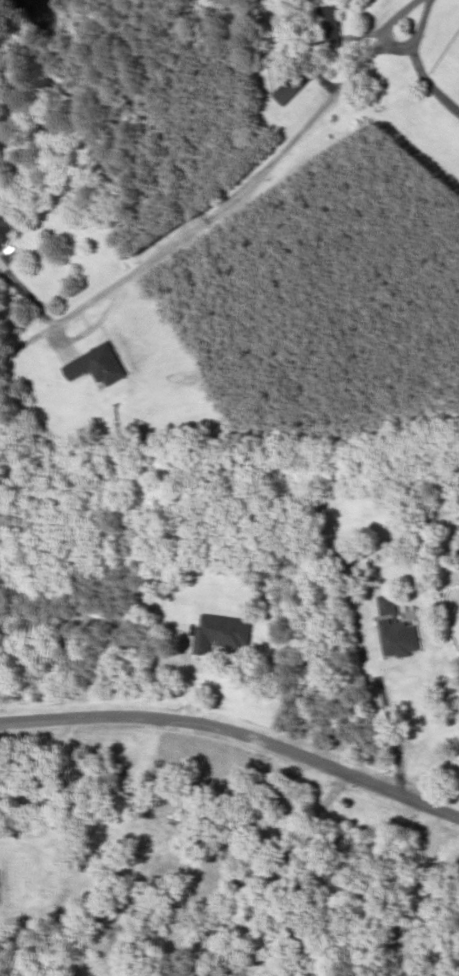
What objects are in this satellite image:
building: (328, 26)
building: (295, 81)
road: (235, 193)
building: (5, 227)
building: (98, 364)
building: (395, 629)
building: (219, 631)
road: (236, 731)

